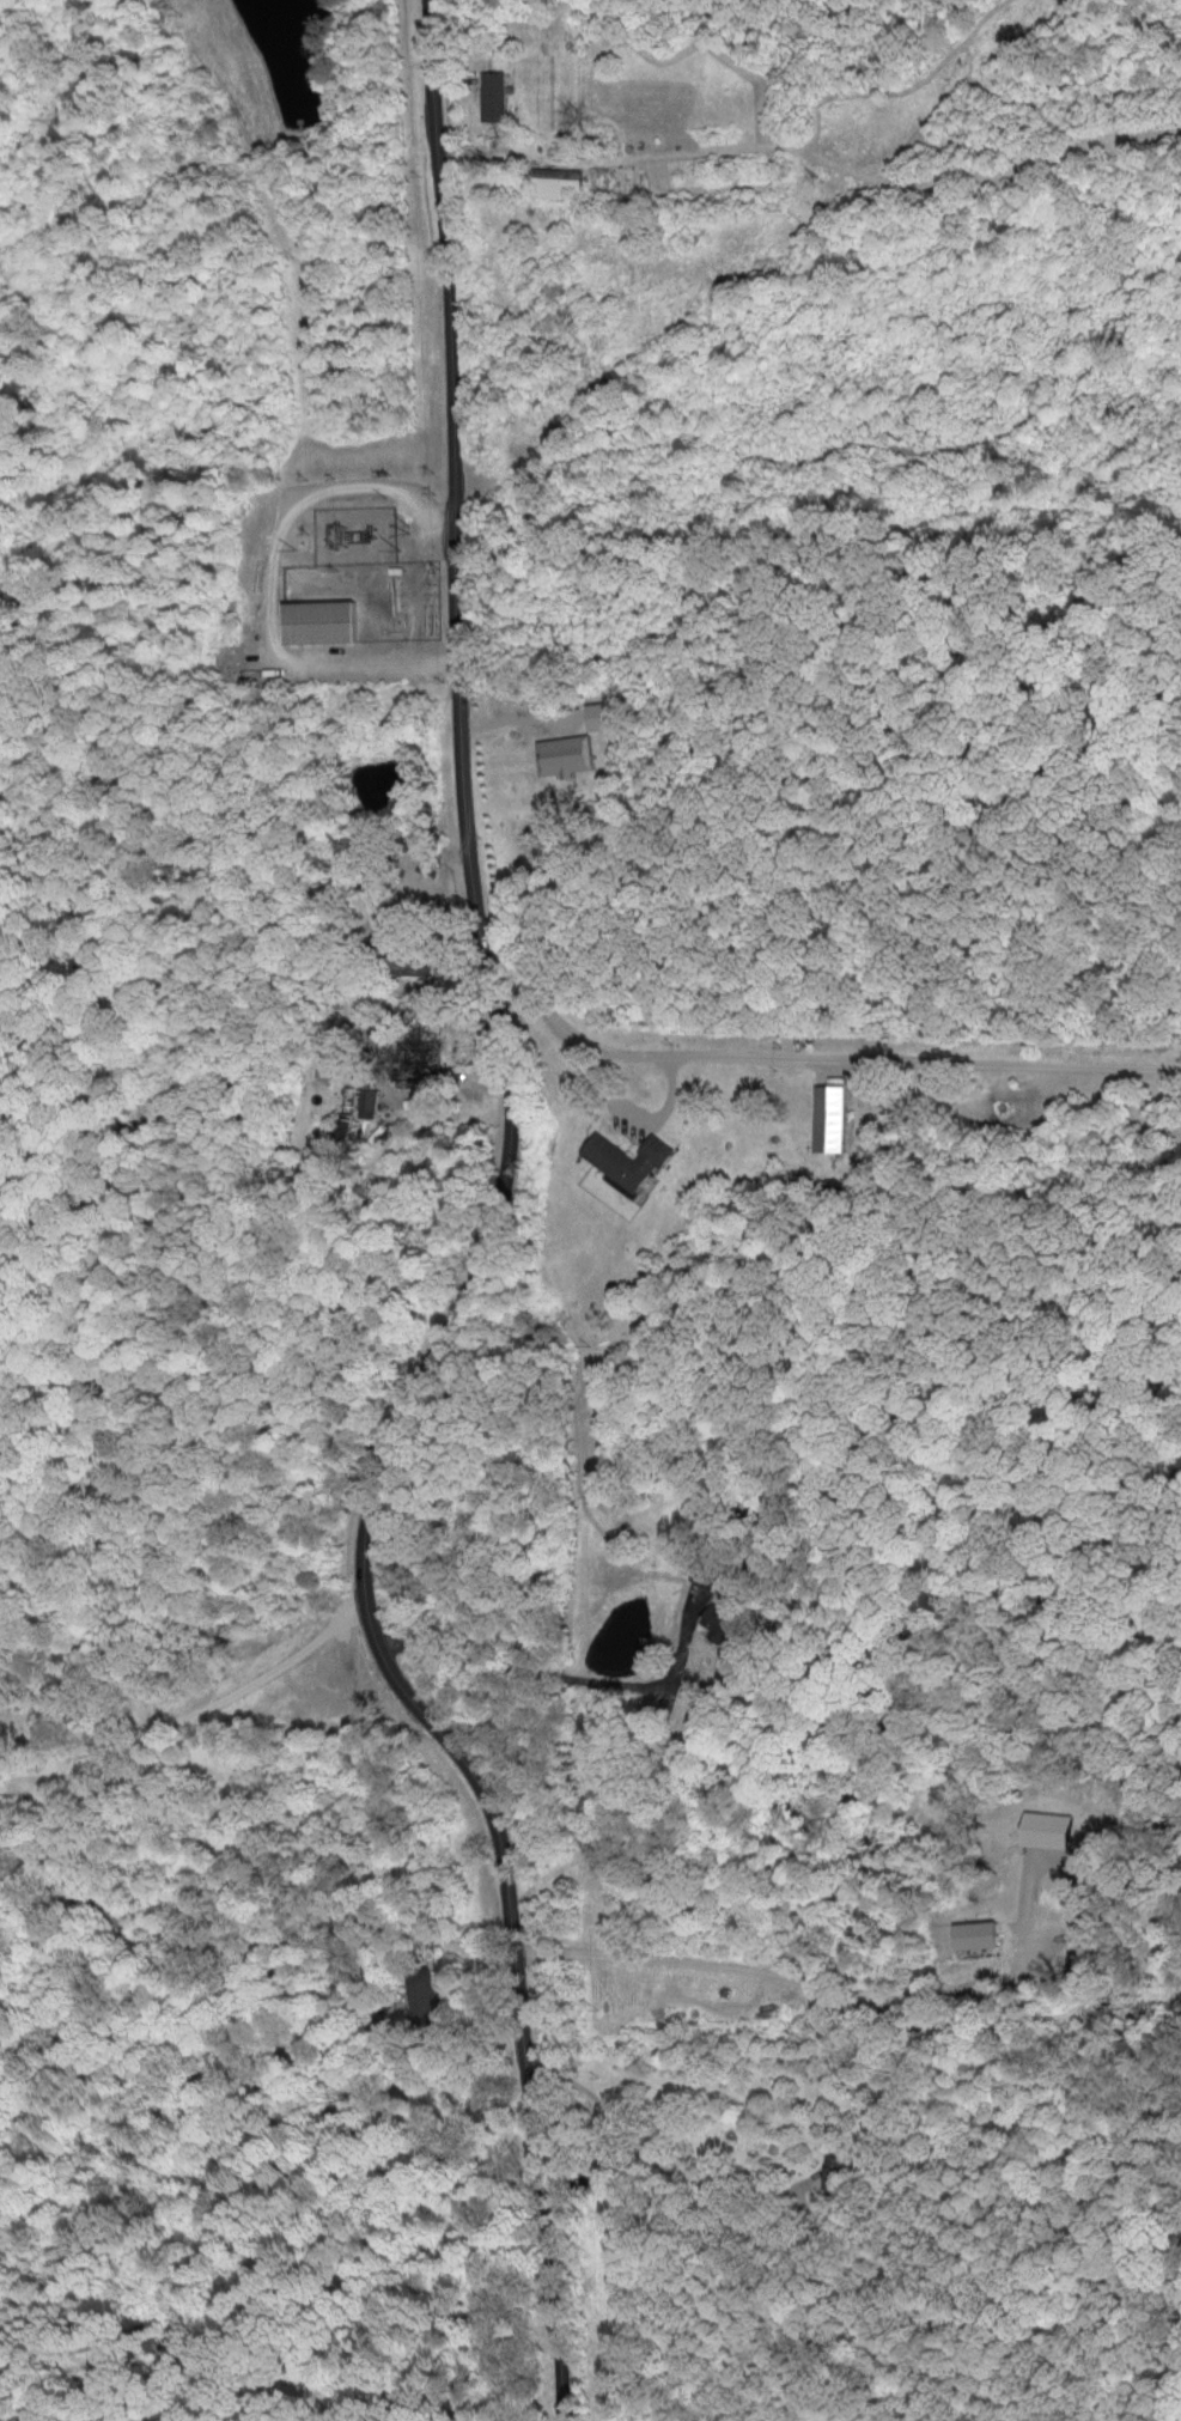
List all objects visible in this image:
building: (492, 97)
road: (274, 577)
building: (313, 620)
building: (592, 714)
building: (561, 754)
building: (404, 962)
road: (816, 1059)
building: (412, 1062)
building: (366, 1099)
road: (626, 1115)
building: (826, 1118)
building: (341, 1126)
building: (622, 1158)
road: (494, 1242)
building: (716, 1626)
road: (555, 1673)
road: (225, 1702)
building: (970, 1935)
road: (774, 1977)
road: (458, 2032)
road: (646, 2131)
building: (833, 2171)

